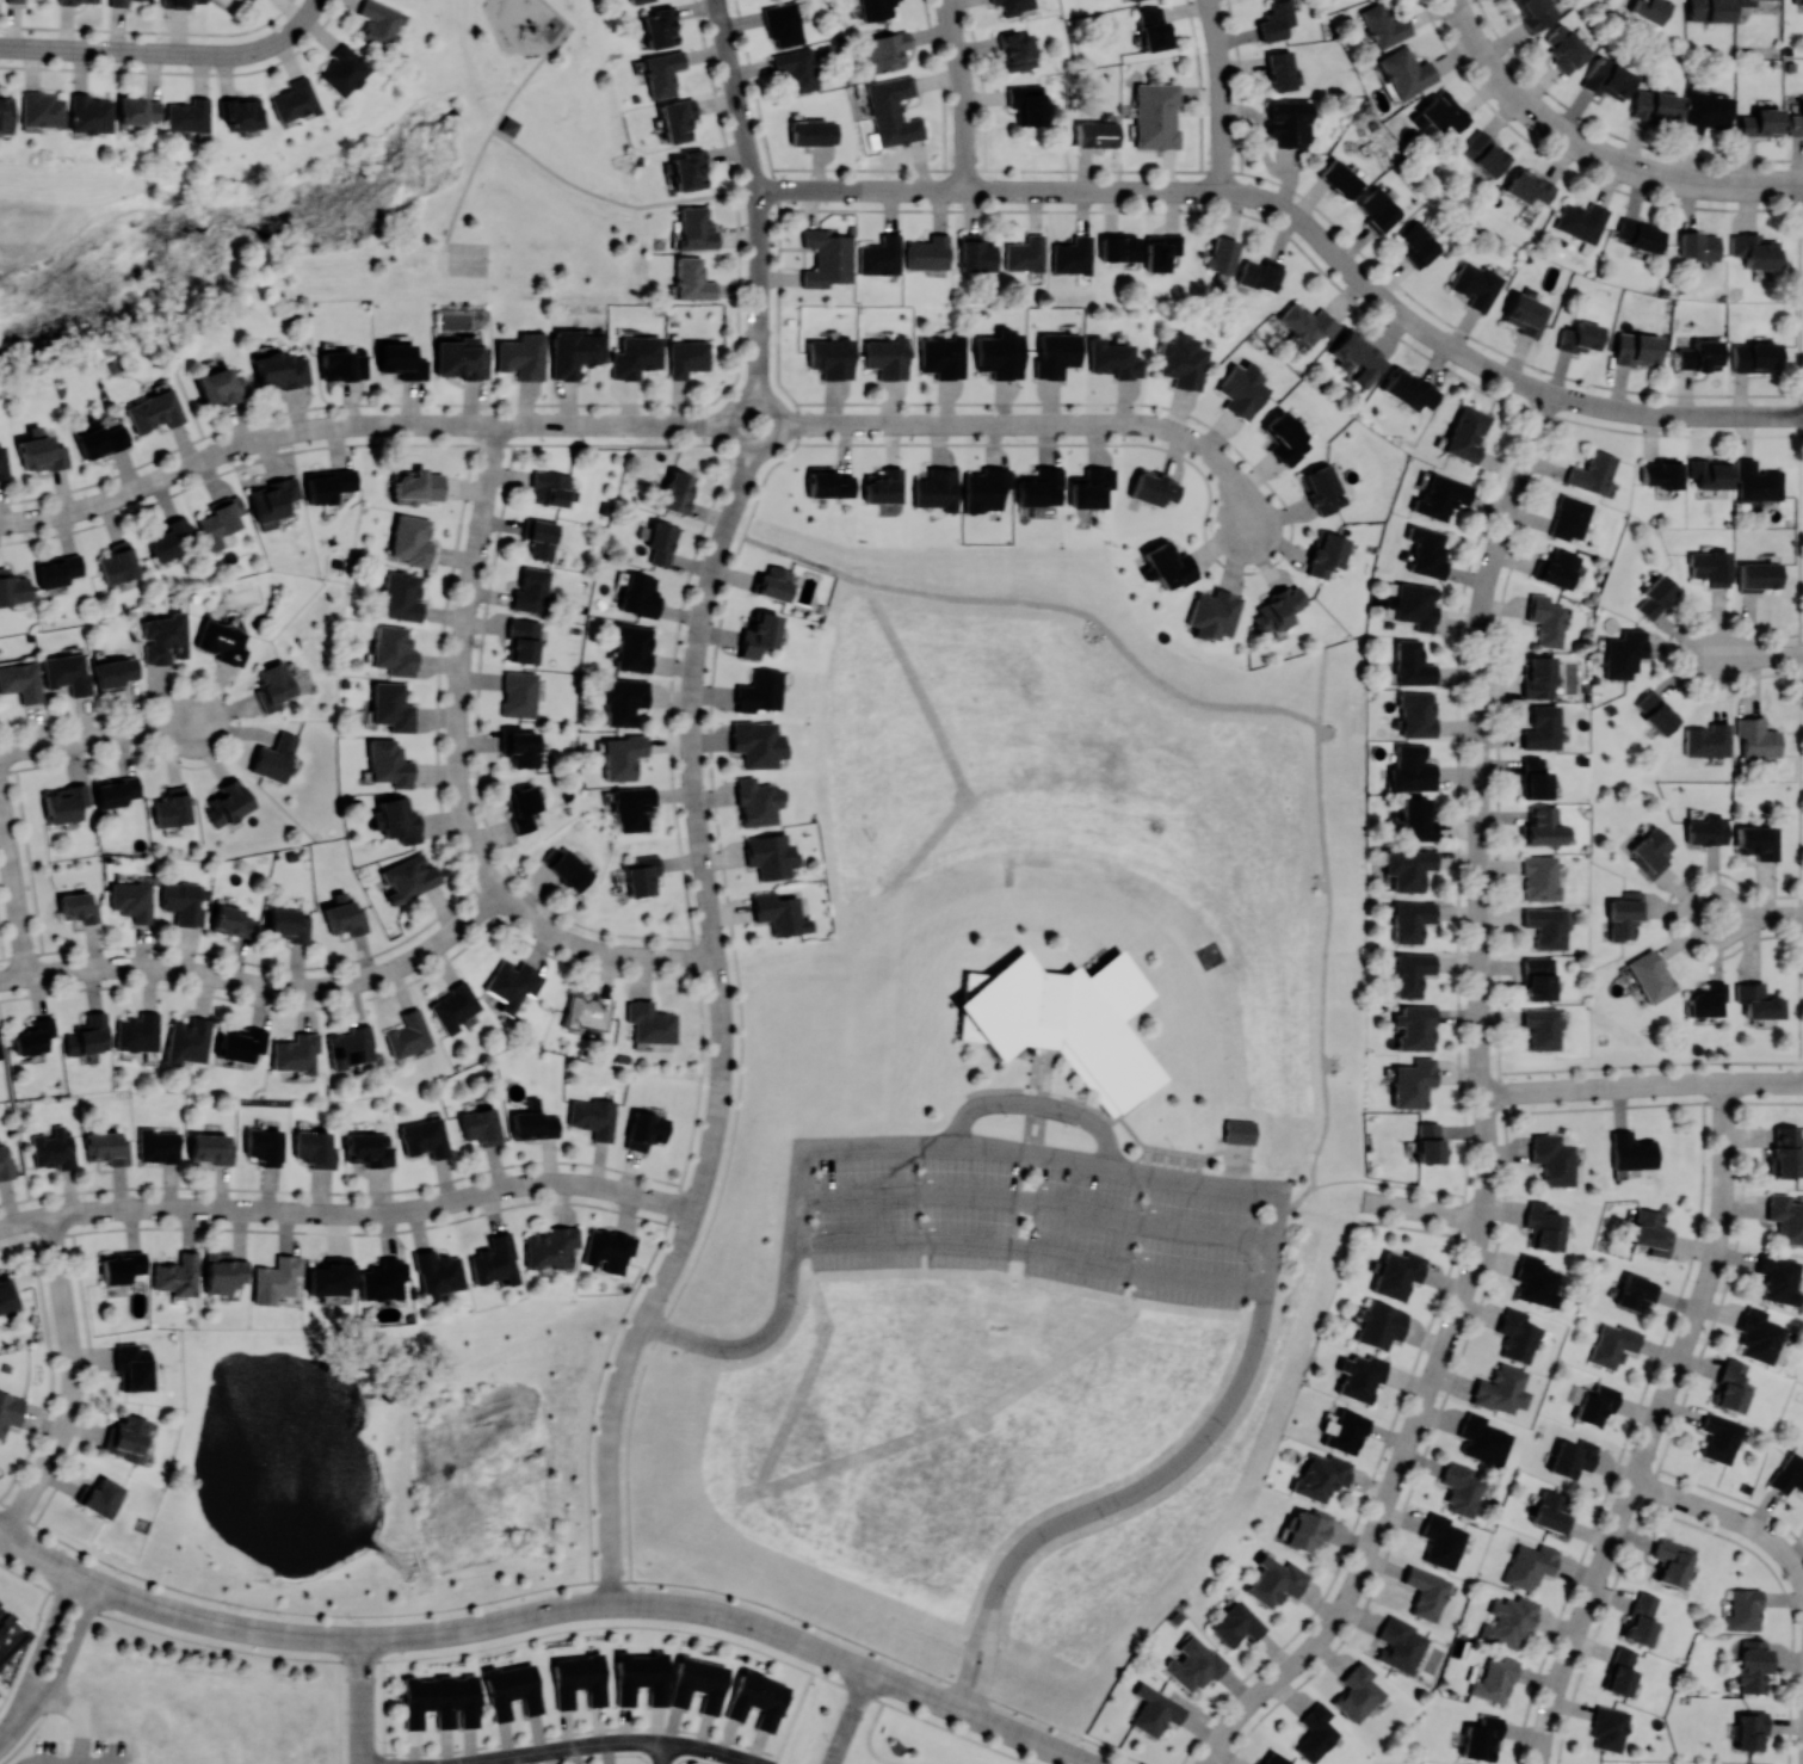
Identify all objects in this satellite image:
building: (14, 0)
building: (249, 0)
building: (1130, 0)
building: (79, 1)
building: (637, 1)
building: (1797, 1)
building: (118, 2)
building: (178, 2)
building: (1014, 5)
building: (876, 8)
road: (1453, 8)
building: (1648, 10)
building: (1710, 10)
building: (1535, 12)
building: (1276, 20)
road: (1214, 21)
building: (783, 23)
building: (378, 24)
building: (1384, 24)
building: (660, 26)
building: (1153, 29)
building: (1564, 48)
building: (884, 50)
building: (1017, 50)
road: (168, 53)
road: (1480, 54)
road: (539, 61)
building: (798, 67)
building: (1282, 69)
building: (342, 70)
building: (662, 72)
building: (1406, 72)
building: (1606, 78)
road: (734, 91)
road: (963, 93)
building: (294, 99)
building: (1027, 103)
building: (1655, 105)
building: (42, 109)
building: (137, 109)
building: (893, 111)
building: (1705, 111)
building: (5, 112)
building: (242, 112)
building: (1440, 112)
building: (89, 113)
building: (189, 115)
building: (1156, 115)
road: (1222, 116)
building: (677, 118)
building: (1796, 121)
building: (1289, 122)
building: (1760, 122)
road: (1546, 123)
building: (506, 128)
building: (813, 131)
building: (1095, 134)
building: (1483, 153)
road: (545, 168)
building: (689, 169)
building: (1340, 178)
road: (1694, 180)
building: (1529, 186)
road: (754, 187)
road: (937, 189)
road: (1171, 191)
park: (338, 197)
road: (1268, 199)
building: (1378, 209)
building: (1581, 221)
building: (694, 228)
building: (1640, 234)
building: (1419, 243)
building: (1697, 245)
building: (1119, 247)
road: (760, 248)
building: (1161, 249)
building: (1755, 249)
building: (928, 252)
building: (976, 252)
building: (1025, 253)
building: (881, 254)
building: (1222, 254)
building: (1072, 255)
building: (827, 257)
park: (468, 258)
road: (1348, 266)
building: (1260, 273)
building: (692, 278)
building: (1475, 284)
building: (1525, 314)
building: (1307, 322)
road: (1427, 331)
building: (1579, 335)
building: (1636, 349)
road: (758, 351)
building: (574, 352)
building: (1000, 353)
building: (1055, 354)
building: (521, 356)
building: (635, 356)
building: (941, 356)
building: (1357, 356)
building: (1698, 356)
building: (1754, 356)
building: (687, 357)
building: (831, 357)
building: (887, 357)
building: (459, 358)
building: (1113, 358)
building: (401, 360)
building: (1183, 360)
building: (342, 365)
building: (280, 369)
building: (221, 386)
building: (1243, 389)
building: (1408, 389)
road: (663, 402)
building: (154, 411)
road: (1630, 411)
road: (728, 421)
road: (704, 423)
road: (1042, 423)
road: (428, 424)
road: (567, 424)
road: (650, 424)
road: (697, 424)
road: (779, 427)
building: (1467, 433)
road: (1801, 434)
building: (1283, 437)
building: (98, 438)
building: (41, 450)
road: (158, 455)
building: (2, 462)
road: (492, 463)
road: (179, 469)
building: (1592, 471)
building: (1660, 471)
building: (1710, 473)
road: (742, 479)
building: (1756, 481)
building: (828, 482)
building: (329, 483)
building: (415, 486)
building: (884, 486)
building: (1041, 486)
building: (550, 487)
building: (1091, 487)
building: (937, 488)
building: (986, 488)
building: (1155, 488)
building: (1321, 488)
building: (675, 491)
building: (273, 496)
building: (1440, 496)
building: (1569, 517)
building: (221, 519)
road: (729, 523)
building: (169, 538)
building: (539, 538)
building: (410, 539)
building: (660, 542)
road: (478, 543)
building: (1426, 551)
road: (1282, 554)
building: (1326, 555)
building: (118, 562)
building: (1168, 565)
building: (1710, 566)
building: (1556, 568)
building: (57, 569)
building: (1756, 575)
building: (773, 582)
building: (13, 587)
building: (531, 590)
building: (640, 594)
building: (401, 596)
building: (1655, 596)
road: (1044, 604)
building: (1415, 605)
building: (1279, 609)
building: (1214, 613)
building: (1546, 619)
building: (759, 635)
building: (165, 637)
building: (524, 639)
building: (222, 641)
building: (632, 647)
building: (394, 649)
building: (1624, 653)
road: (1758, 654)
building: (1413, 662)
road: (439, 667)
building: (67, 672)
building: (115, 672)
building: (1538, 677)
building: (21, 680)
building: (273, 686)
building: (760, 691)
building: (519, 693)
building: (623, 699)
building: (391, 707)
road: (669, 709)
building: (1655, 711)
building: (1416, 714)
road: (1481, 717)
road: (237, 718)
building: (1542, 728)
road: (100, 735)
building: (1756, 736)
building: (1706, 740)
building: (757, 742)
road: (692, 744)
building: (520, 747)
building: (622, 755)
building: (274, 757)
road: (477, 759)
building: (389, 763)
building: (1412, 769)
building: (1535, 778)
building: (116, 791)
building: (757, 801)
building: (64, 802)
building: (229, 802)
building: (523, 806)
building: (172, 807)
building: (631, 807)
building: (1416, 816)
building: (396, 819)
building: (1540, 827)
building: (1704, 831)
building: (1758, 841)
building: (1650, 851)
road: (478, 855)
building: (770, 855)
road: (29, 861)
building: (566, 866)
building: (1408, 868)
building: (641, 875)
building: (409, 876)
building: (1539, 877)
road: (13, 884)
building: (132, 899)
building: (185, 901)
building: (79, 906)
building: (779, 913)
building: (1625, 914)
road: (473, 915)
road: (1756, 915)
building: (345, 918)
road: (1328, 918)
building: (233, 920)
building: (1412, 920)
building: (289, 924)
building: (1545, 926)
road: (1, 950)
road: (424, 952)
road: (266, 963)
road: (203, 973)
building: (1412, 973)
building: (1650, 975)
building: (1537, 977)
building: (512, 982)
building: (1706, 999)
building: (1756, 1000)
building: (453, 1006)
building: (586, 1011)
road: (722, 1017)
building: (649, 1022)
building: (1068, 1022)
building: (1415, 1026)
building: (1542, 1026)
building: (137, 1031)
building: (88, 1034)
building: (407, 1034)
building: (33, 1035)
building: (189, 1038)
building: (239, 1042)
building: (351, 1046)
building: (296, 1051)
road: (1481, 1075)
building: (1412, 1083)
road: (1642, 1085)
road: (737, 1111)
building: (593, 1116)
road: (16, 1120)
building: (533, 1122)
building: (480, 1125)
building: (644, 1129)
building: (1239, 1131)
building: (425, 1136)
building: (1428, 1141)
building: (158, 1145)
building: (265, 1145)
building: (107, 1147)
building: (211, 1147)
building: (370, 1147)
road: (711, 1147)
building: (315, 1148)
building: (54, 1149)
road: (1030, 1149)
building: (1785, 1149)
building: (1631, 1151)
building: (1551, 1158)
building: (6, 1160)
building: (1231, 1166)
road: (1135, 1167)
road: (1369, 1179)
road: (356, 1191)
road: (1035, 1202)
road: (1424, 1209)
road: (394, 1210)
road: (70, 1213)
parking lot: (1037, 1214)
building: (1785, 1217)
road: (26, 1220)
building: (1543, 1225)
building: (1651, 1232)
road: (352, 1233)
building: (551, 1247)
building: (607, 1248)
road: (679, 1251)
road: (1029, 1251)
building: (494, 1260)
building: (121, 1265)
building: (223, 1271)
building: (438, 1272)
building: (1397, 1273)
building: (177, 1275)
building: (277, 1275)
building: (331, 1276)
road: (641, 1277)
building: (383, 1278)
building: (1777, 1278)
building: (1535, 1279)
building: (1635, 1291)
building: (6, 1295)
building: (1379, 1324)
building: (1517, 1334)
building: (1756, 1334)
building: (1612, 1344)
road: (50, 1357)
building: (132, 1368)
building: (1360, 1376)
road: (74, 1382)
building: (1729, 1386)
building: (1500, 1389)
building: (1595, 1404)
building: (10, 1410)
road: (1654, 1426)
building: (1346, 1432)
building: (126, 1437)
building: (1718, 1437)
building: (1482, 1439)
road: (610, 1442)
road: (1403, 1454)
park: (383, 1455)
building: (1572, 1457)
building: (1787, 1473)
building: (1321, 1476)
building: (1461, 1488)
building: (100, 1497)
building: (1551, 1512)
road: (1728, 1516)
building: (1308, 1529)
building: (1440, 1541)
road: (36, 1552)
building: (1671, 1561)
building: (1529, 1565)
road: (85, 1578)
building: (1274, 1580)
building: (1425, 1592)
building: (1743, 1609)
road: (727, 1616)
building: (1641, 1618)
building: (1508, 1621)
road: (488, 1623)
building: (1235, 1623)
road: (226, 1624)
road: (45, 1635)
building: (1398, 1645)
road: (69, 1647)
road: (967, 1664)
building: (1192, 1664)
building: (1753, 1665)
road: (984, 1670)
building: (1620, 1671)
building: (641, 1677)
building: (578, 1679)
building: (1494, 1679)
building: (698, 1684)
building: (512, 1690)
building: (1357, 1692)
building: (440, 1700)
building: (757, 1700)
road: (360, 1701)
road: (950, 1707)
building: (1155, 1709)
road: (792, 1717)
road: (850, 1717)
road: (80, 1720)
road: (16, 1722)
building: (1609, 1727)
building: (1749, 1729)
building: (1315, 1732)
building: (1480, 1738)
road: (609, 1743)
road: (663, 1753)
building: (1273, 1758)
road: (1079, 1760)

